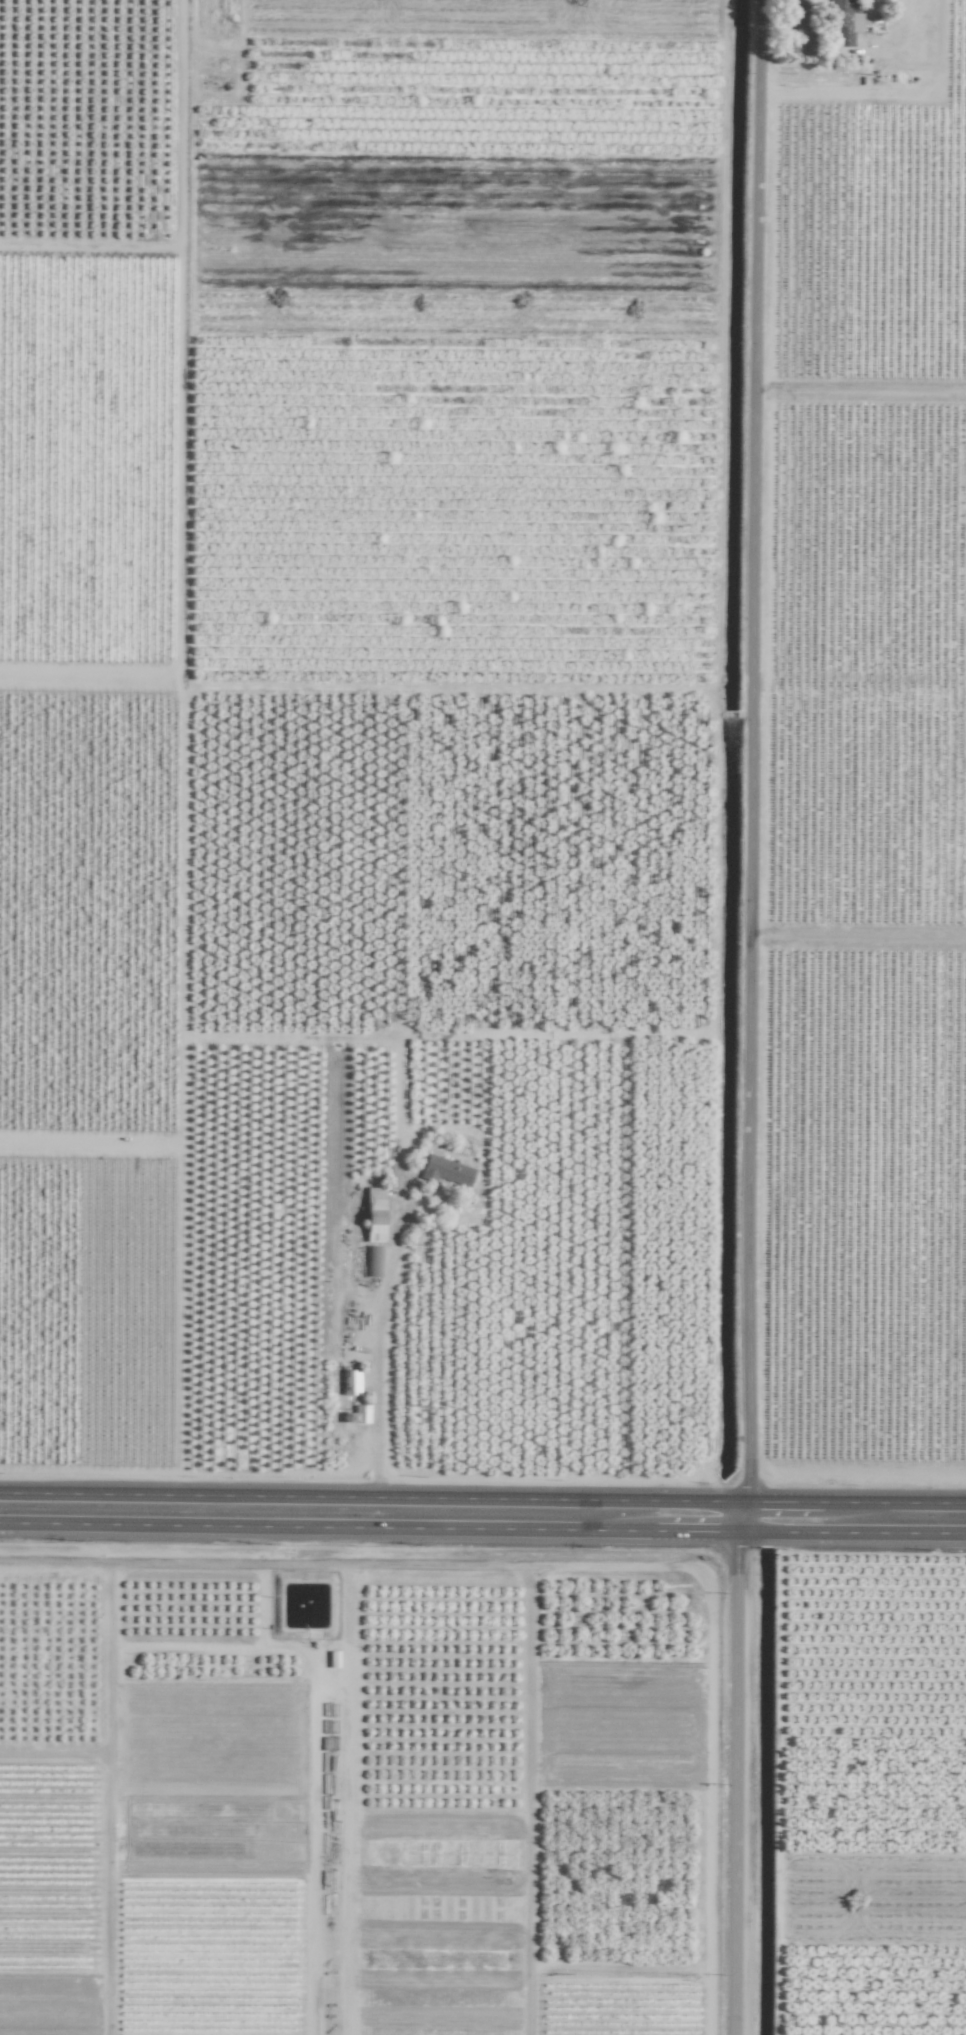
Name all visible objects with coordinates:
building: (842, 21)
road: (747, 1017)
building: (446, 1171)
building: (374, 1215)
building: (372, 1261)
road: (376, 1349)
building: (350, 1382)
building: (358, 1415)
road: (371, 1497)
road: (854, 1502)
road: (369, 1527)
road: (852, 1532)
airport runway: (327, 1861)

